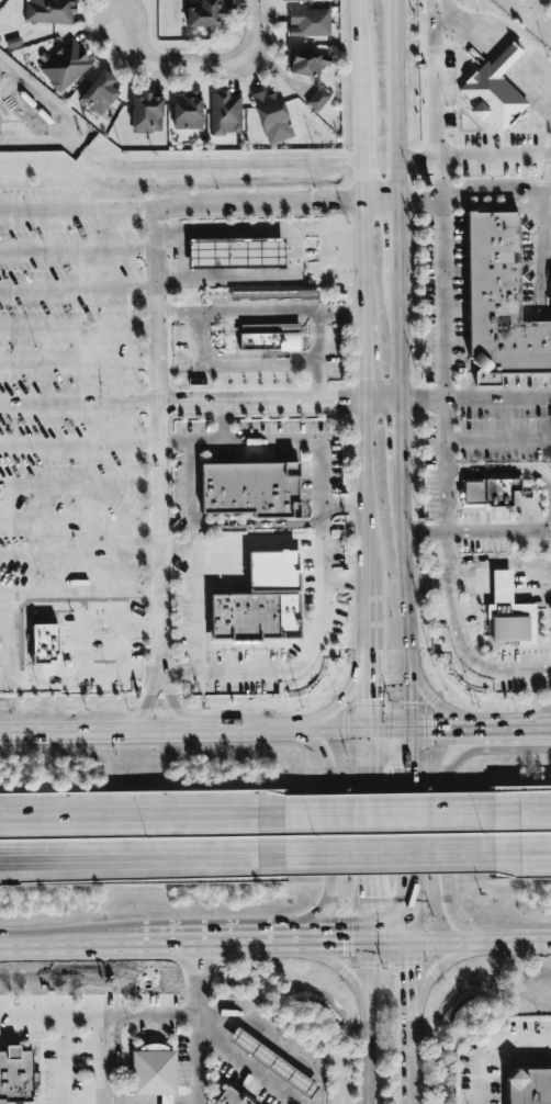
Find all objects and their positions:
building: (297, 0)
road: (530, 7)
building: (48, 11)
building: (203, 13)
road: (529, 18)
building: (310, 22)
road: (503, 29)
road: (247, 31)
road: (359, 55)
building: (509, 55)
road: (172, 61)
building: (65, 65)
building: (311, 72)
road: (437, 78)
building: (501, 89)
building: (100, 93)
road: (395, 102)
building: (187, 111)
building: (225, 113)
building: (146, 114)
building: (272, 116)
road: (360, 143)
road: (549, 155)
road: (493, 156)
road: (417, 157)
road: (177, 165)
road: (439, 180)
road: (485, 187)
road: (544, 188)
road: (360, 190)
road: (417, 204)
road: (378, 205)
road: (496, 207)
road: (77, 210)
road: (394, 234)
road: (539, 243)
building: (232, 249)
gas station: (232, 249)
road: (77, 250)
road: (292, 252)
road: (179, 255)
road: (360, 259)
road: (77, 291)
building: (306, 294)
road: (441, 303)
building: (501, 303)
road: (176, 313)
road: (256, 313)
road: (338, 313)
road: (77, 327)
road: (395, 333)
road: (155, 337)
building: (258, 342)
road: (315, 358)
road: (361, 358)
road: (230, 363)
road: (78, 364)
road: (497, 399)
road: (419, 403)
road: (379, 404)
road: (181, 406)
road: (220, 425)
road: (397, 431)
road: (362, 432)
road: (497, 440)
road: (308, 441)
road: (78, 443)
road: (443, 466)
road: (520, 474)
road: (78, 483)
building: (251, 491)
building: (491, 495)
road: (341, 506)
road: (79, 520)
road: (217, 522)
road: (363, 525)
road: (475, 532)
road: (181, 543)
road: (258, 552)
road: (79, 554)
road: (403, 567)
building: (247, 575)
road: (498, 581)
road: (425, 582)
road: (344, 583)
building: (502, 586)
road: (79, 594)
road: (195, 604)
building: (249, 620)
building: (513, 622)
building: (40, 635)
road: (459, 639)
road: (83, 655)
road: (364, 657)
road: (273, 672)
traffic signals: (364, 698)
road: (409, 700)
road: (145, 705)
road: (172, 706)
road: (325, 711)
road: (447, 711)
road: (535, 716)
road: (387, 725)
traffic signals: (430, 725)
road: (452, 725)
road: (522, 725)
road: (312, 726)
road: (130, 728)
road: (366, 762)
traffic signals: (409, 768)
road: (409, 802)
road: (524, 810)
road: (391, 812)
road: (143, 814)
road: (327, 823)
road: (442, 825)
road: (524, 855)
road: (391, 856)
road: (143, 857)
road: (366, 870)
traffic signals: (367, 900)
road: (411, 911)
road: (325, 943)
traffic signals: (339, 943)
road: (459, 943)
road: (203, 944)
road: (61, 946)
road: (338, 962)
road: (436, 967)
traffic signals: (413, 970)
road: (413, 983)
road: (98, 1016)
road: (367, 1023)
road: (196, 1024)
road: (493, 1048)
road: (63, 1060)
road: (105, 1060)
road: (245, 1061)
parking lot: (509, 1062)
building: (272, 1063)
road: (412, 1063)
building: (153, 1072)
building: (15, 1075)
building: (529, 1086)
building: (229, 1099)

